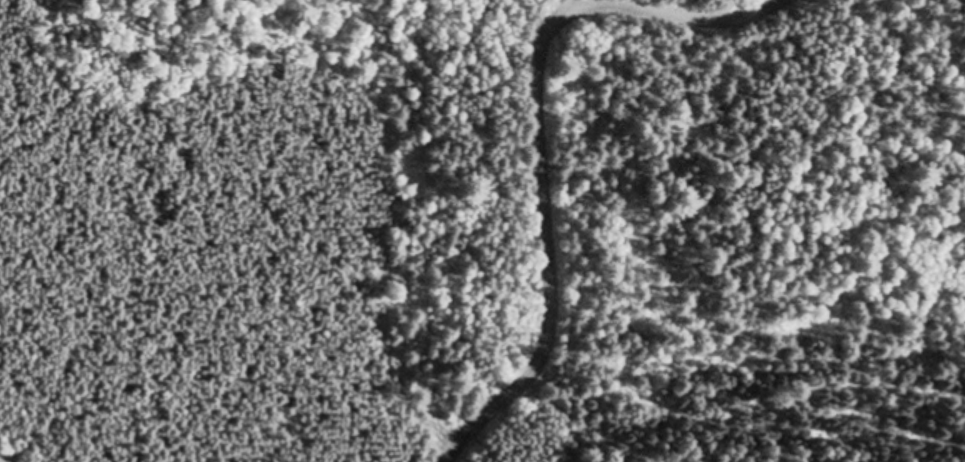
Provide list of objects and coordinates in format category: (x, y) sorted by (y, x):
road: (545, 140)
road: (14, 455)

